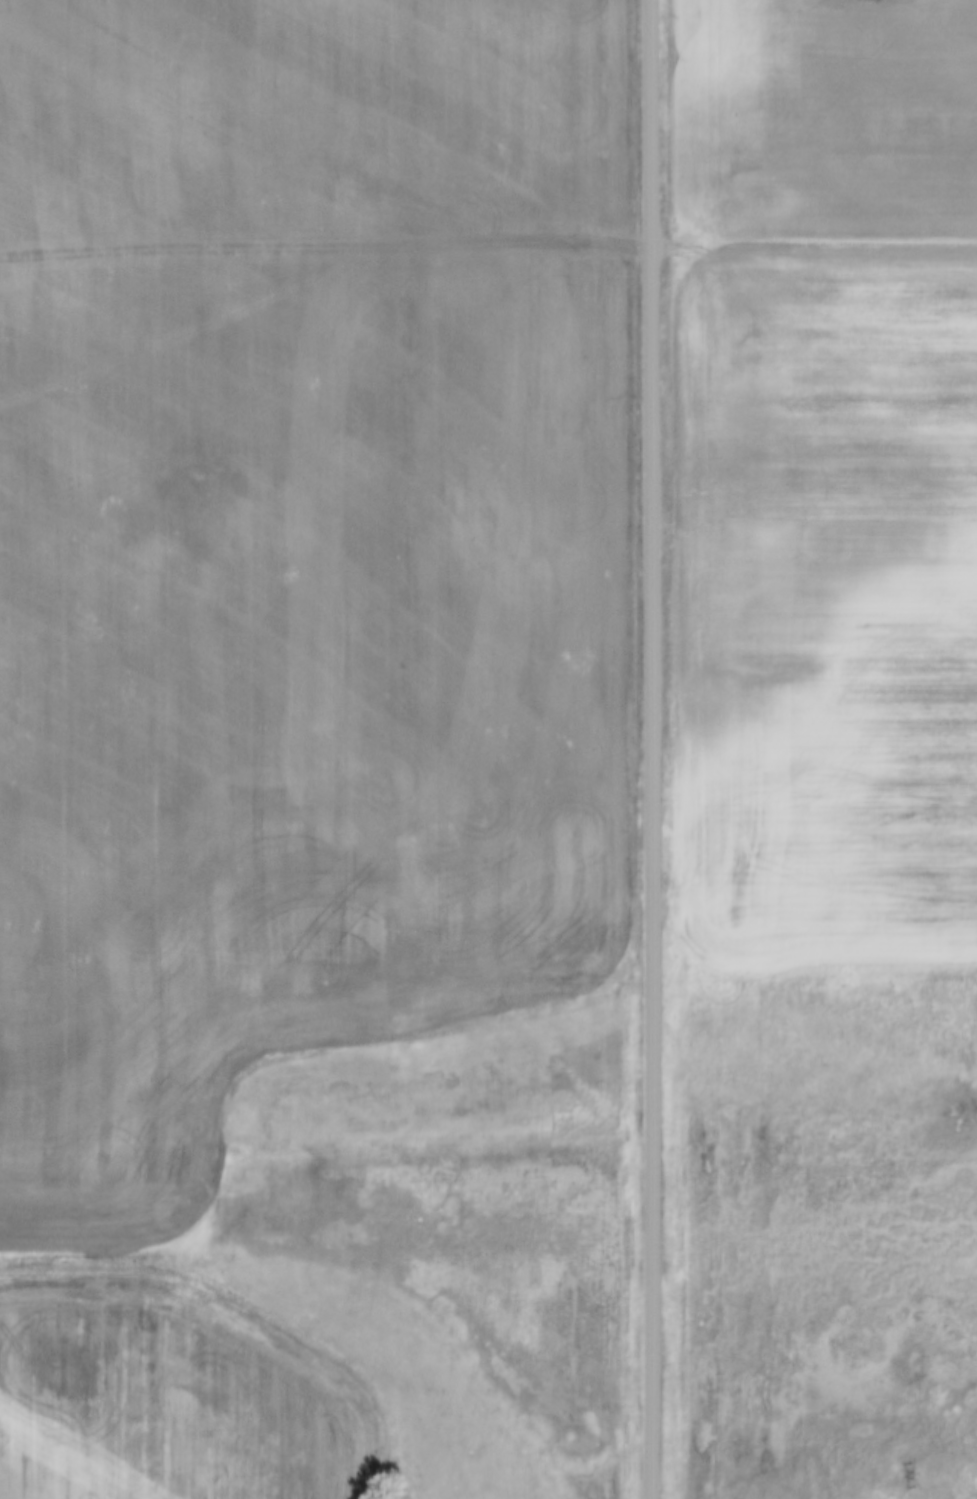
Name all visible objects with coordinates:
road: (652, 749)

